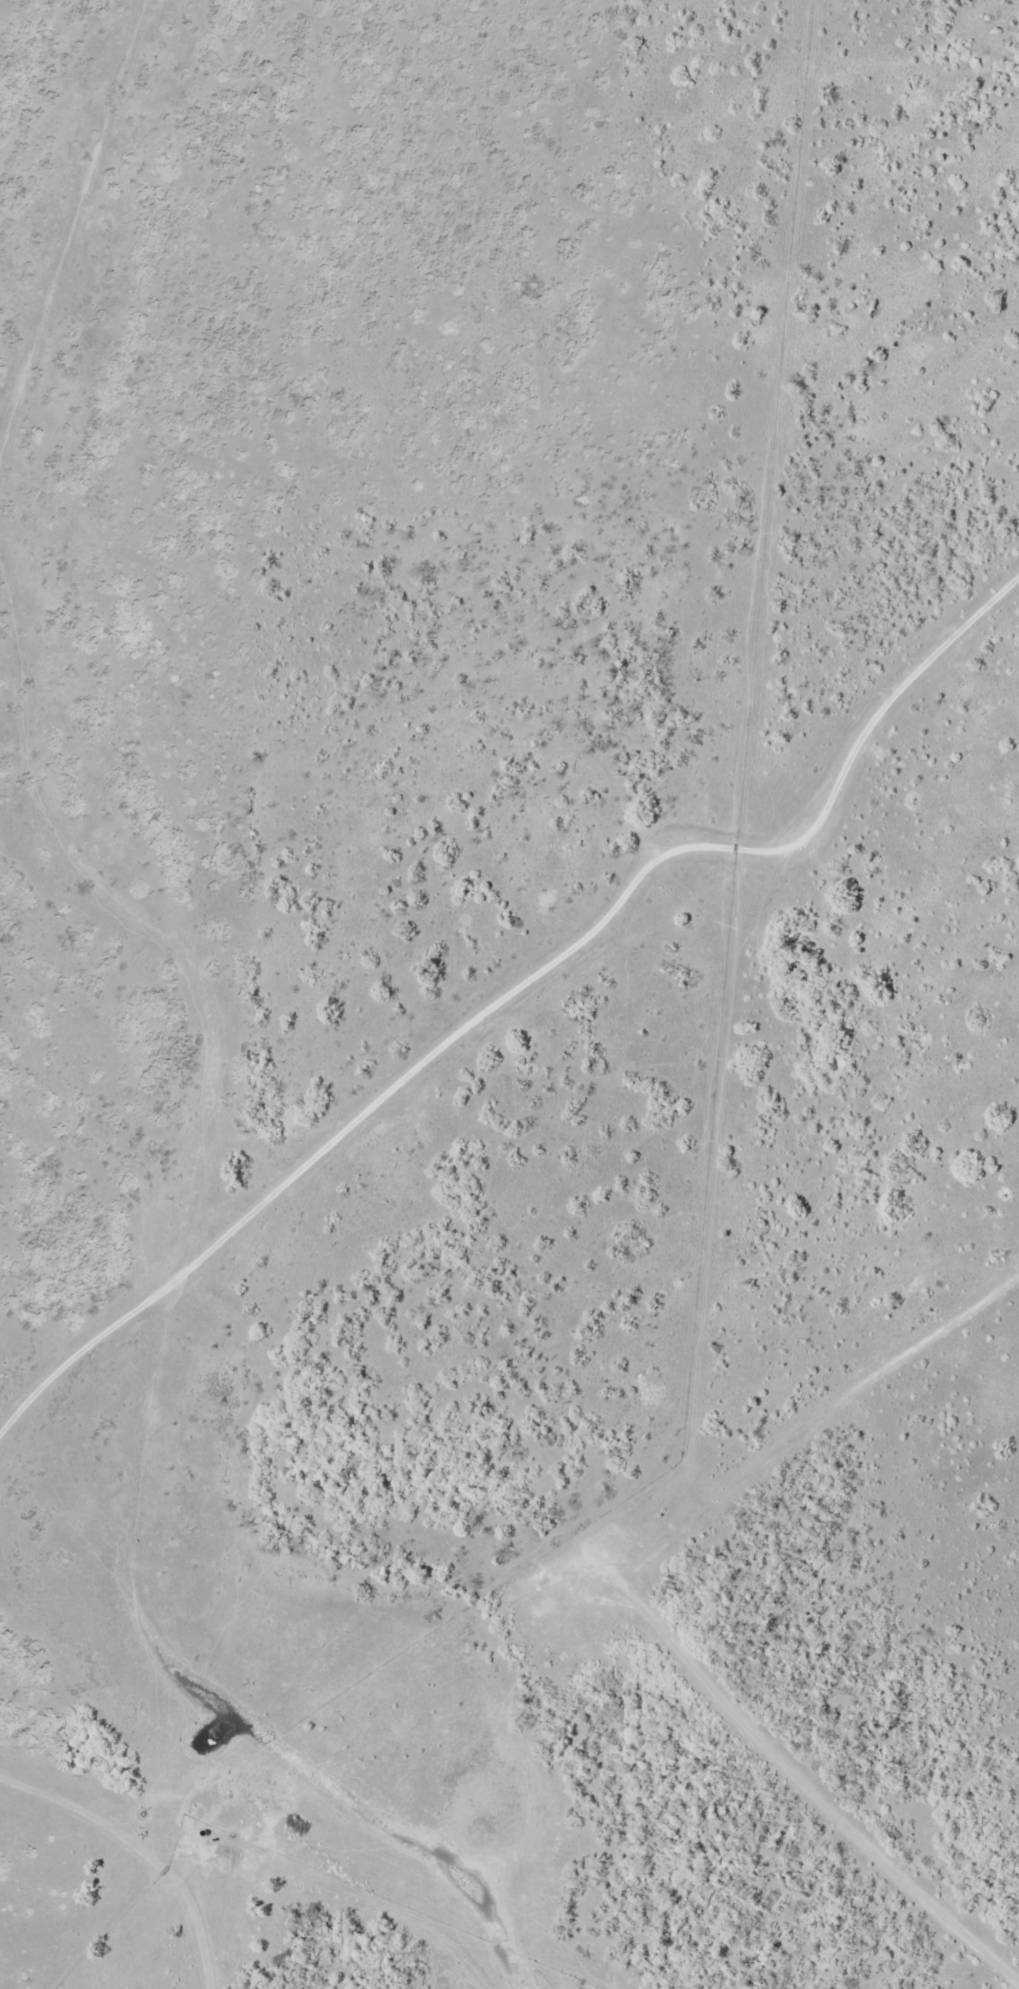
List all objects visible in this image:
building: (611, 1545)
storage tank: (611, 1545)
road: (148, 1843)

